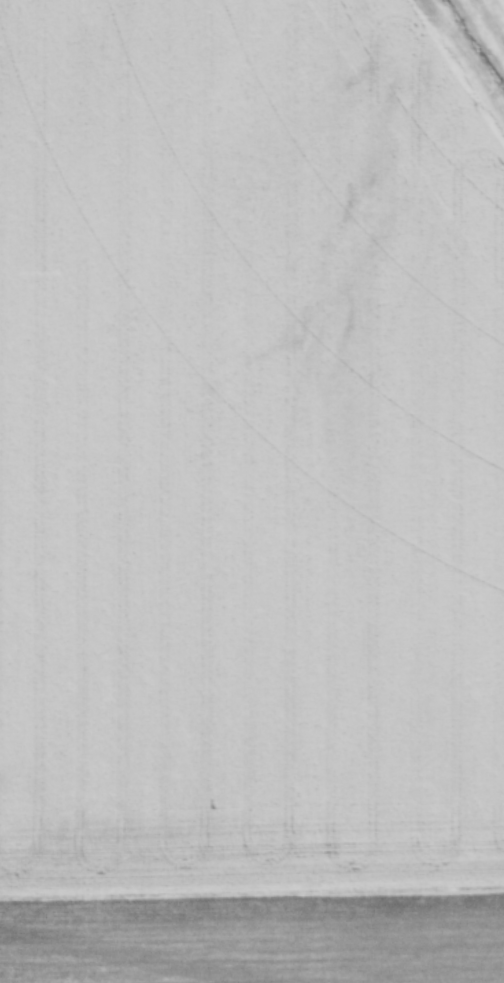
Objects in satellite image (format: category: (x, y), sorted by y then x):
river: (496, 11)

